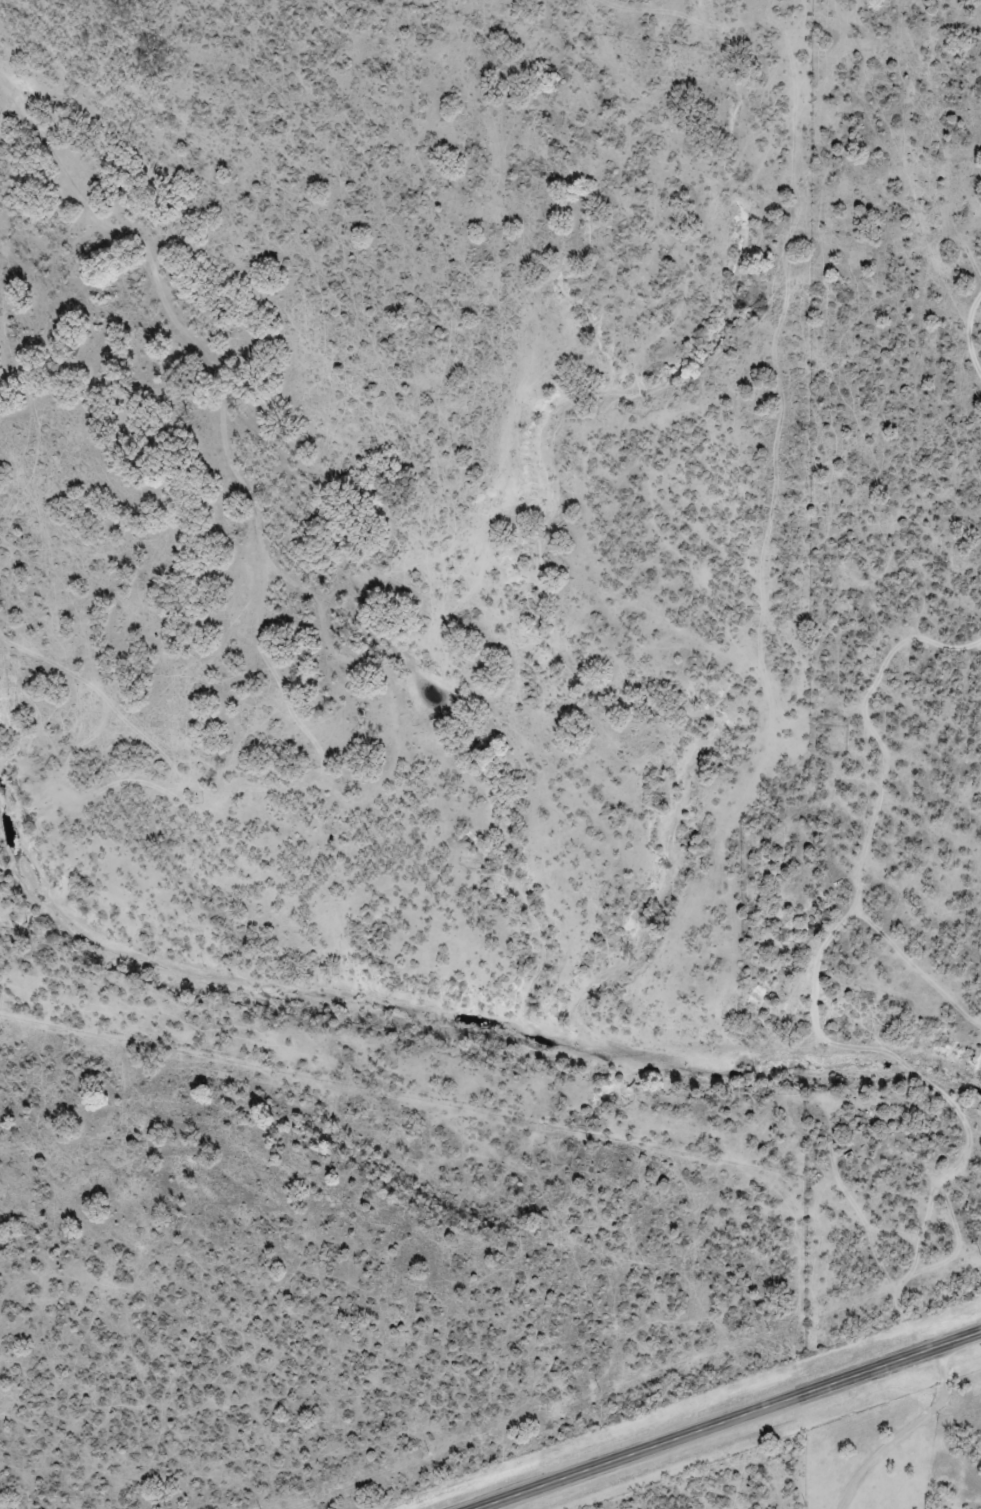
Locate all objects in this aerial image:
road: (730, 1421)

